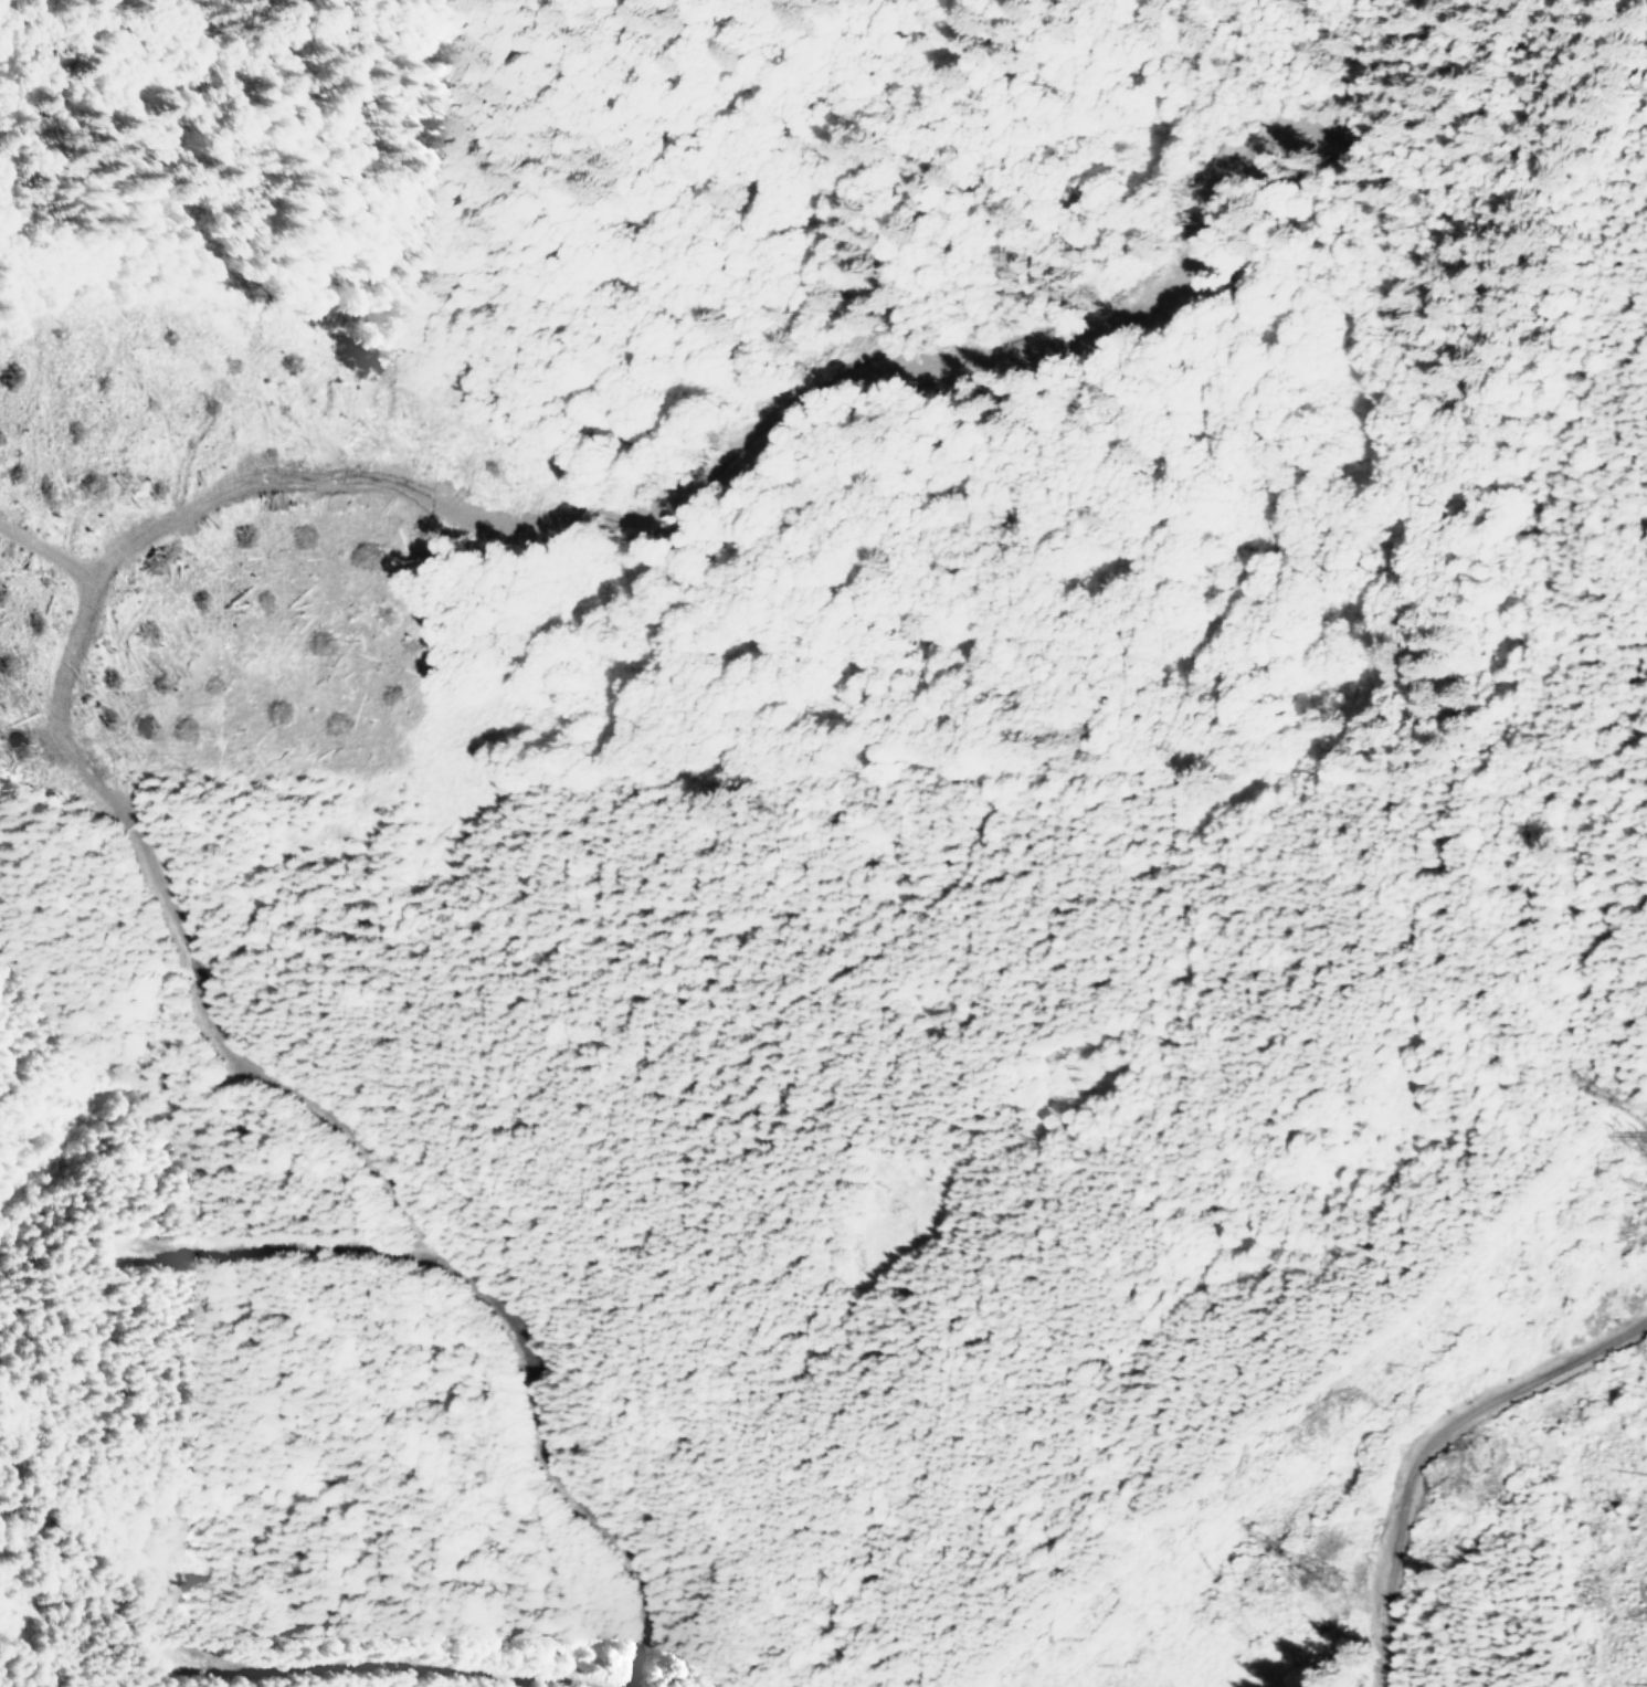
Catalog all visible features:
road: (1436, 1452)
power tower: (1332, 1572)

